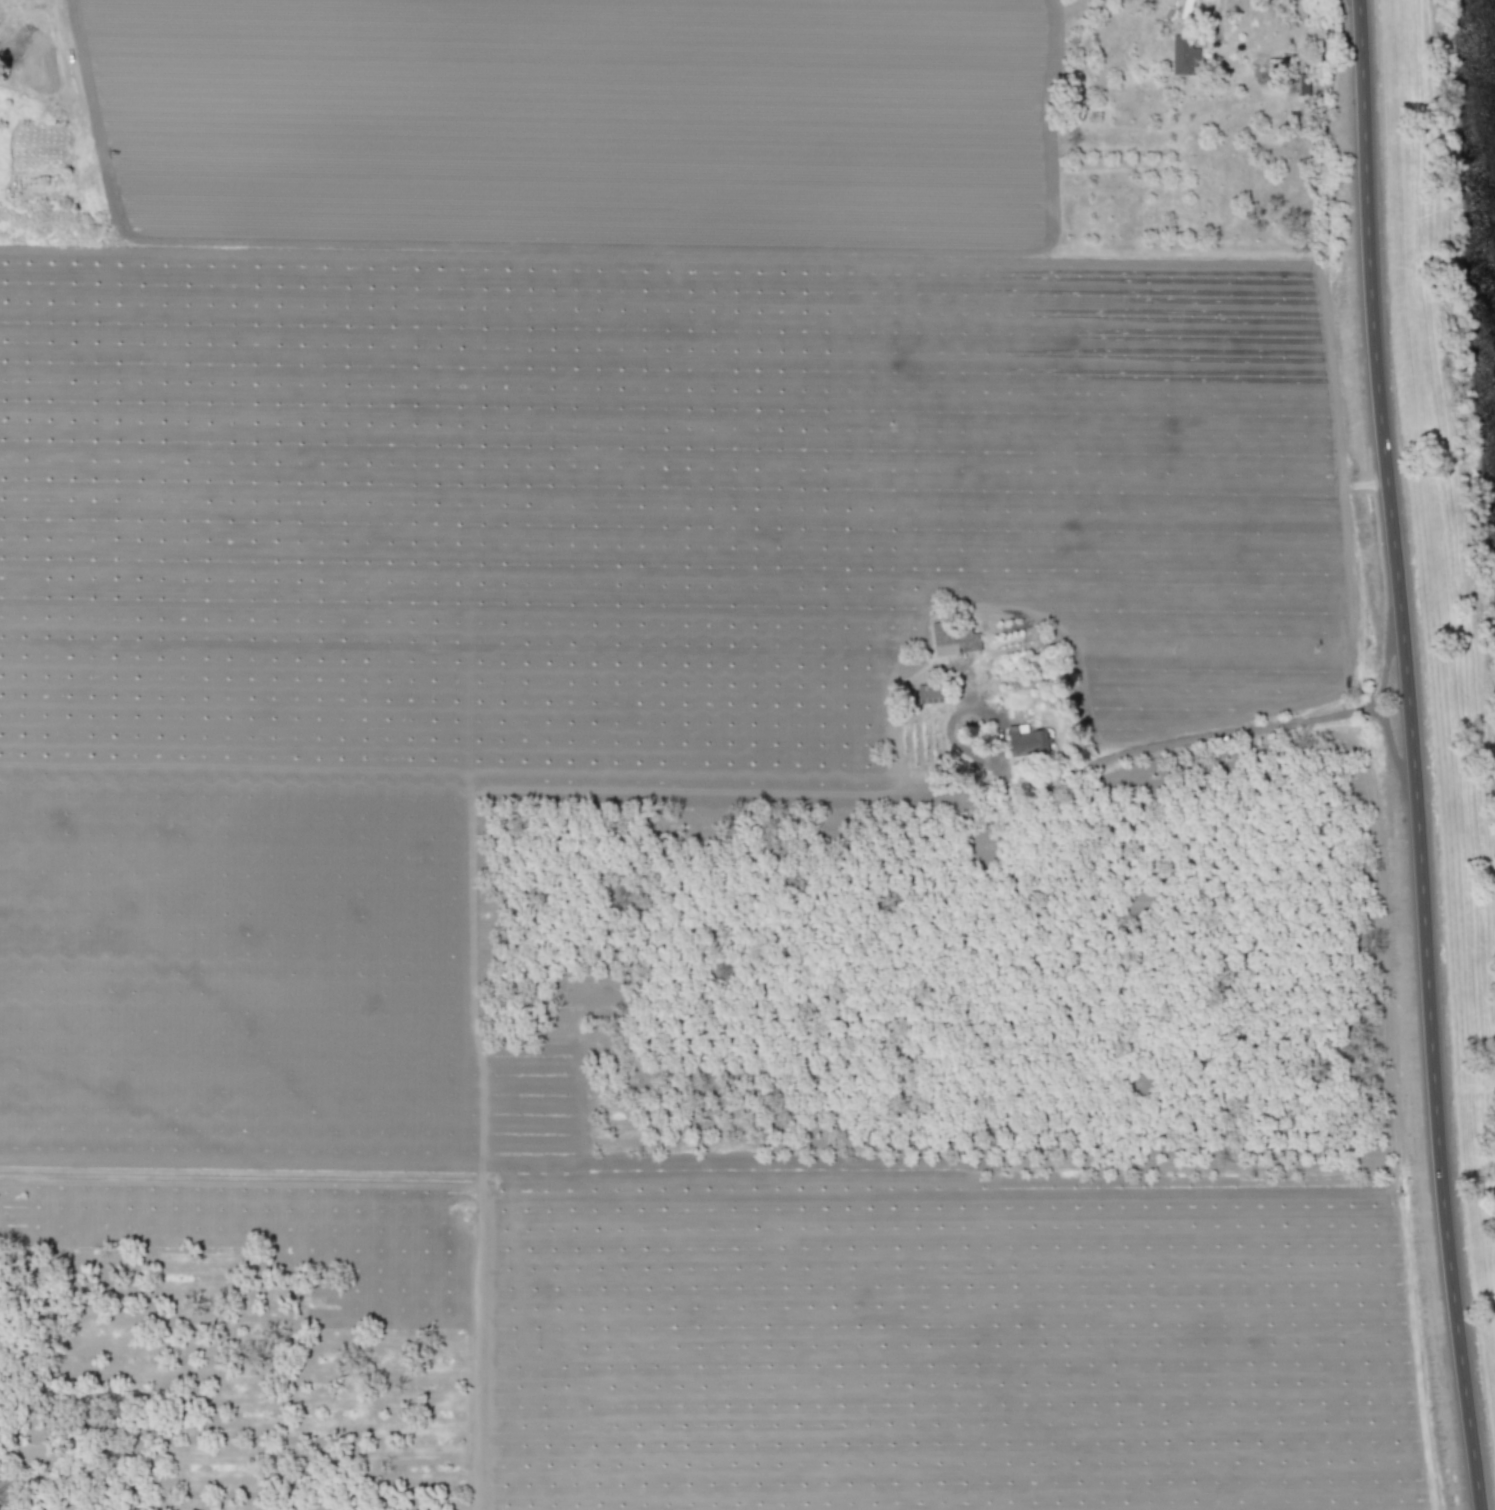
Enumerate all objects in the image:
building: (1183, 55)
building: (953, 638)
road: (1267, 727)
building: (1027, 741)
road: (1411, 755)
crop: (710, 771)

